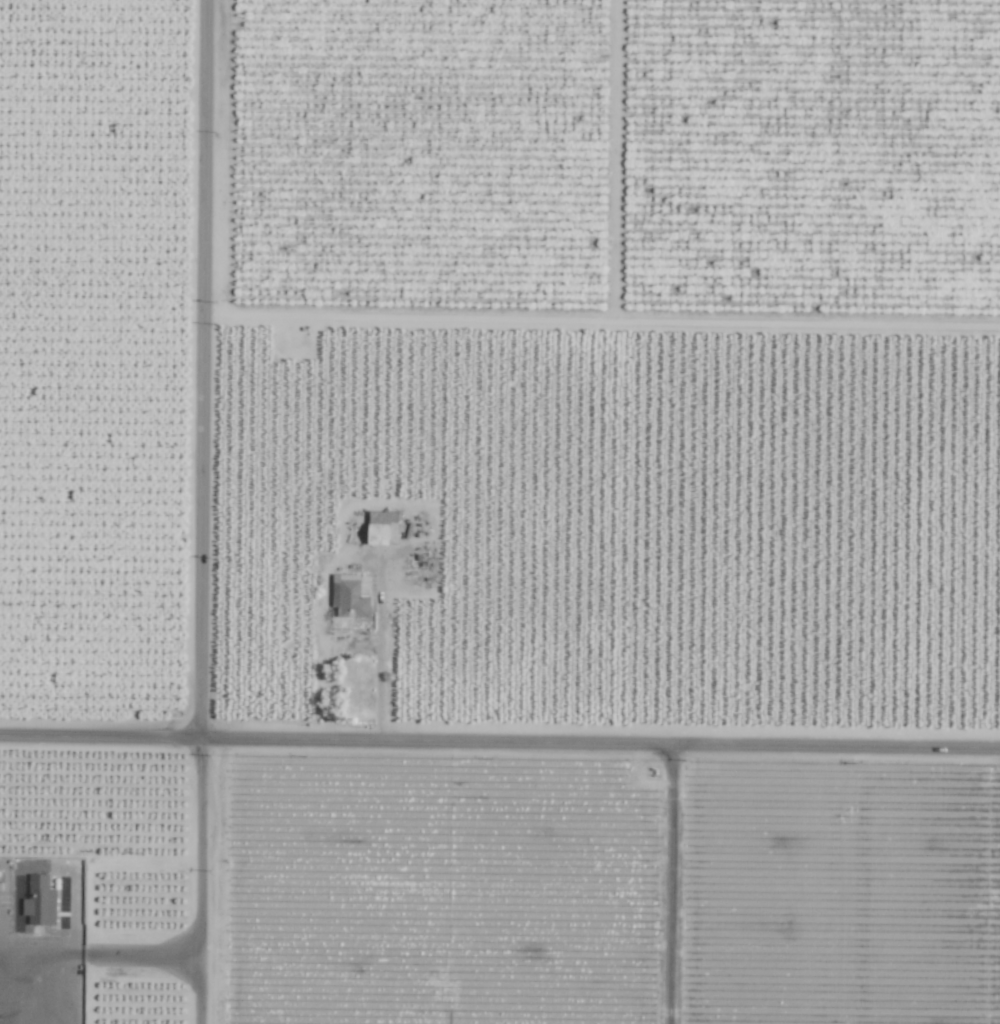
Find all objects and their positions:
road: (203, 512)
building: (381, 528)
building: (348, 596)
road: (381, 666)
road: (500, 745)
road: (672, 888)
building: (39, 901)
road: (111, 952)

